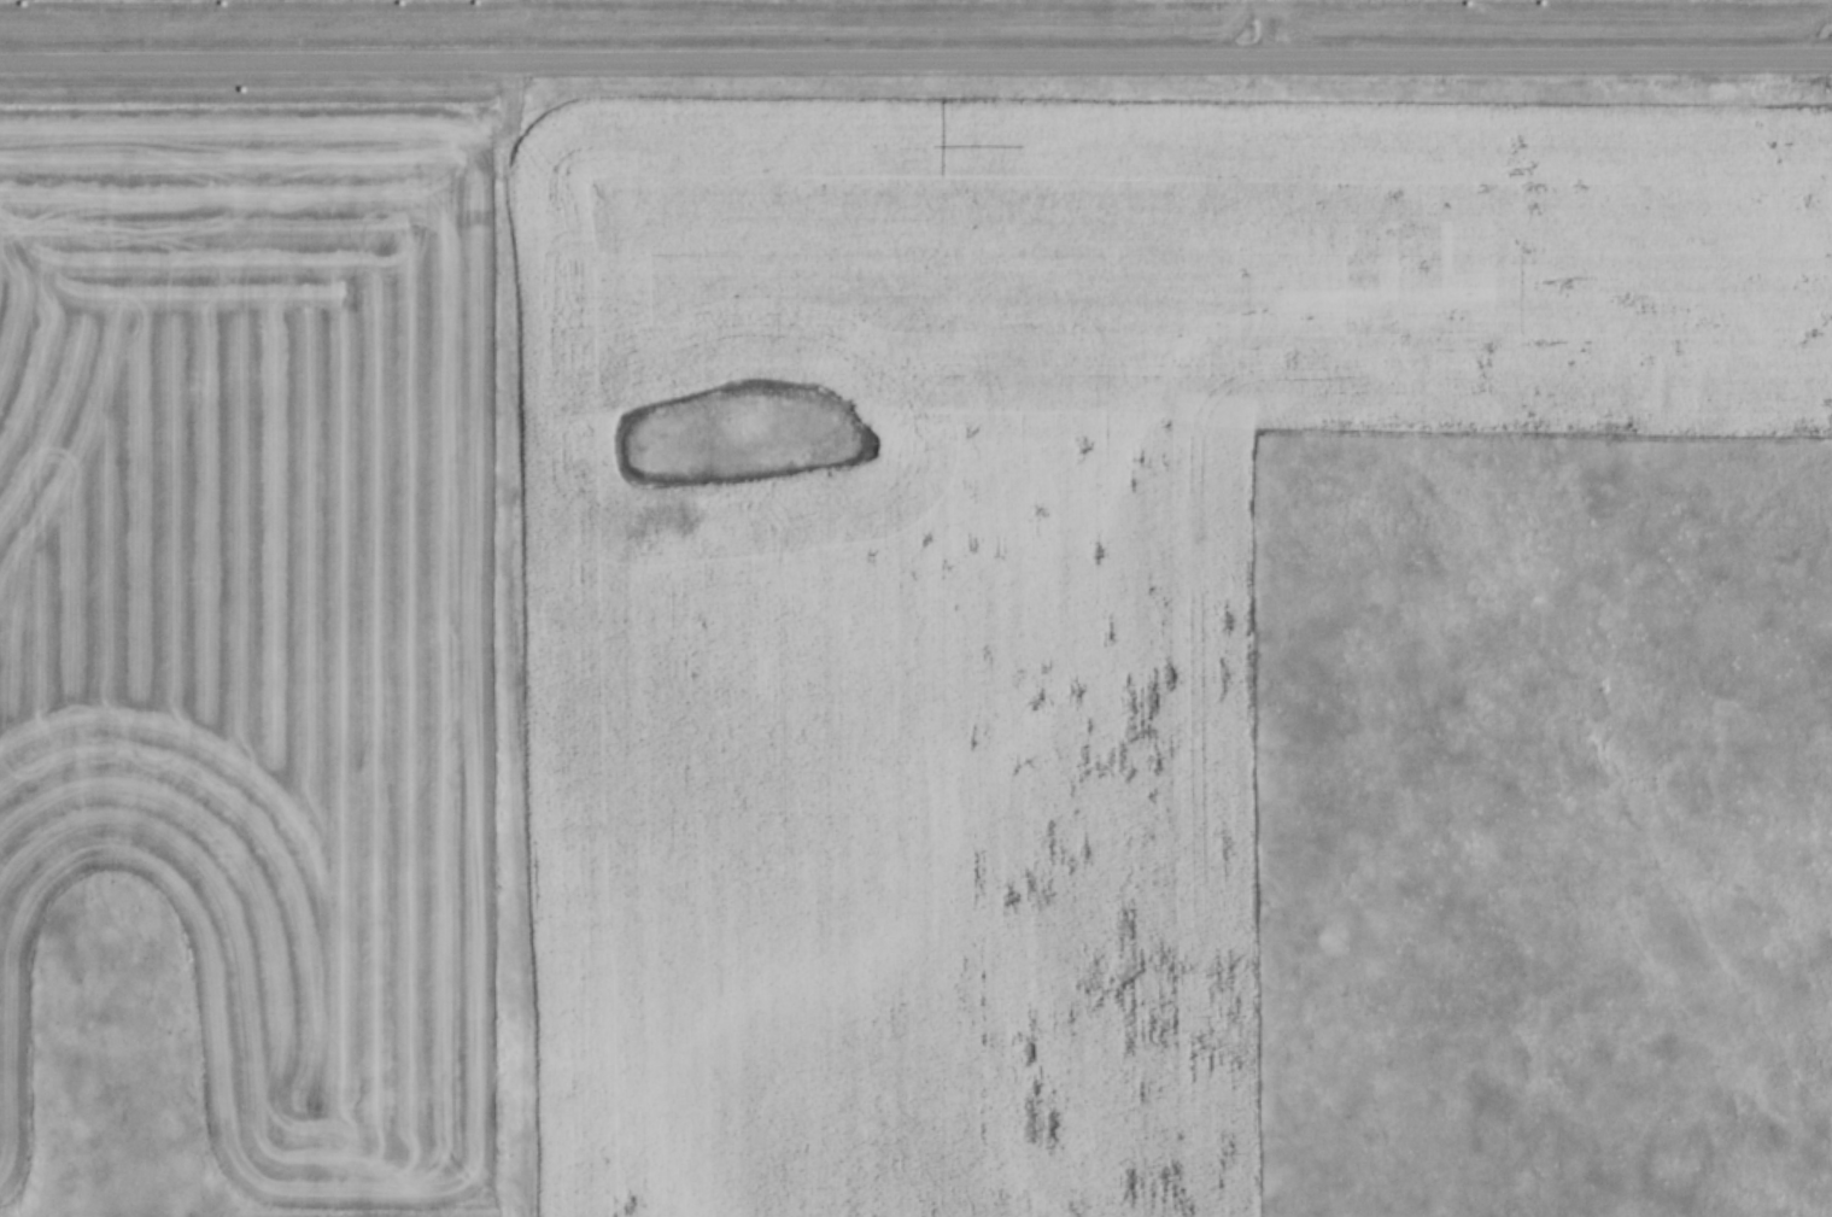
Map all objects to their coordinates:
road: (915, 55)
crop: (1015, 580)

